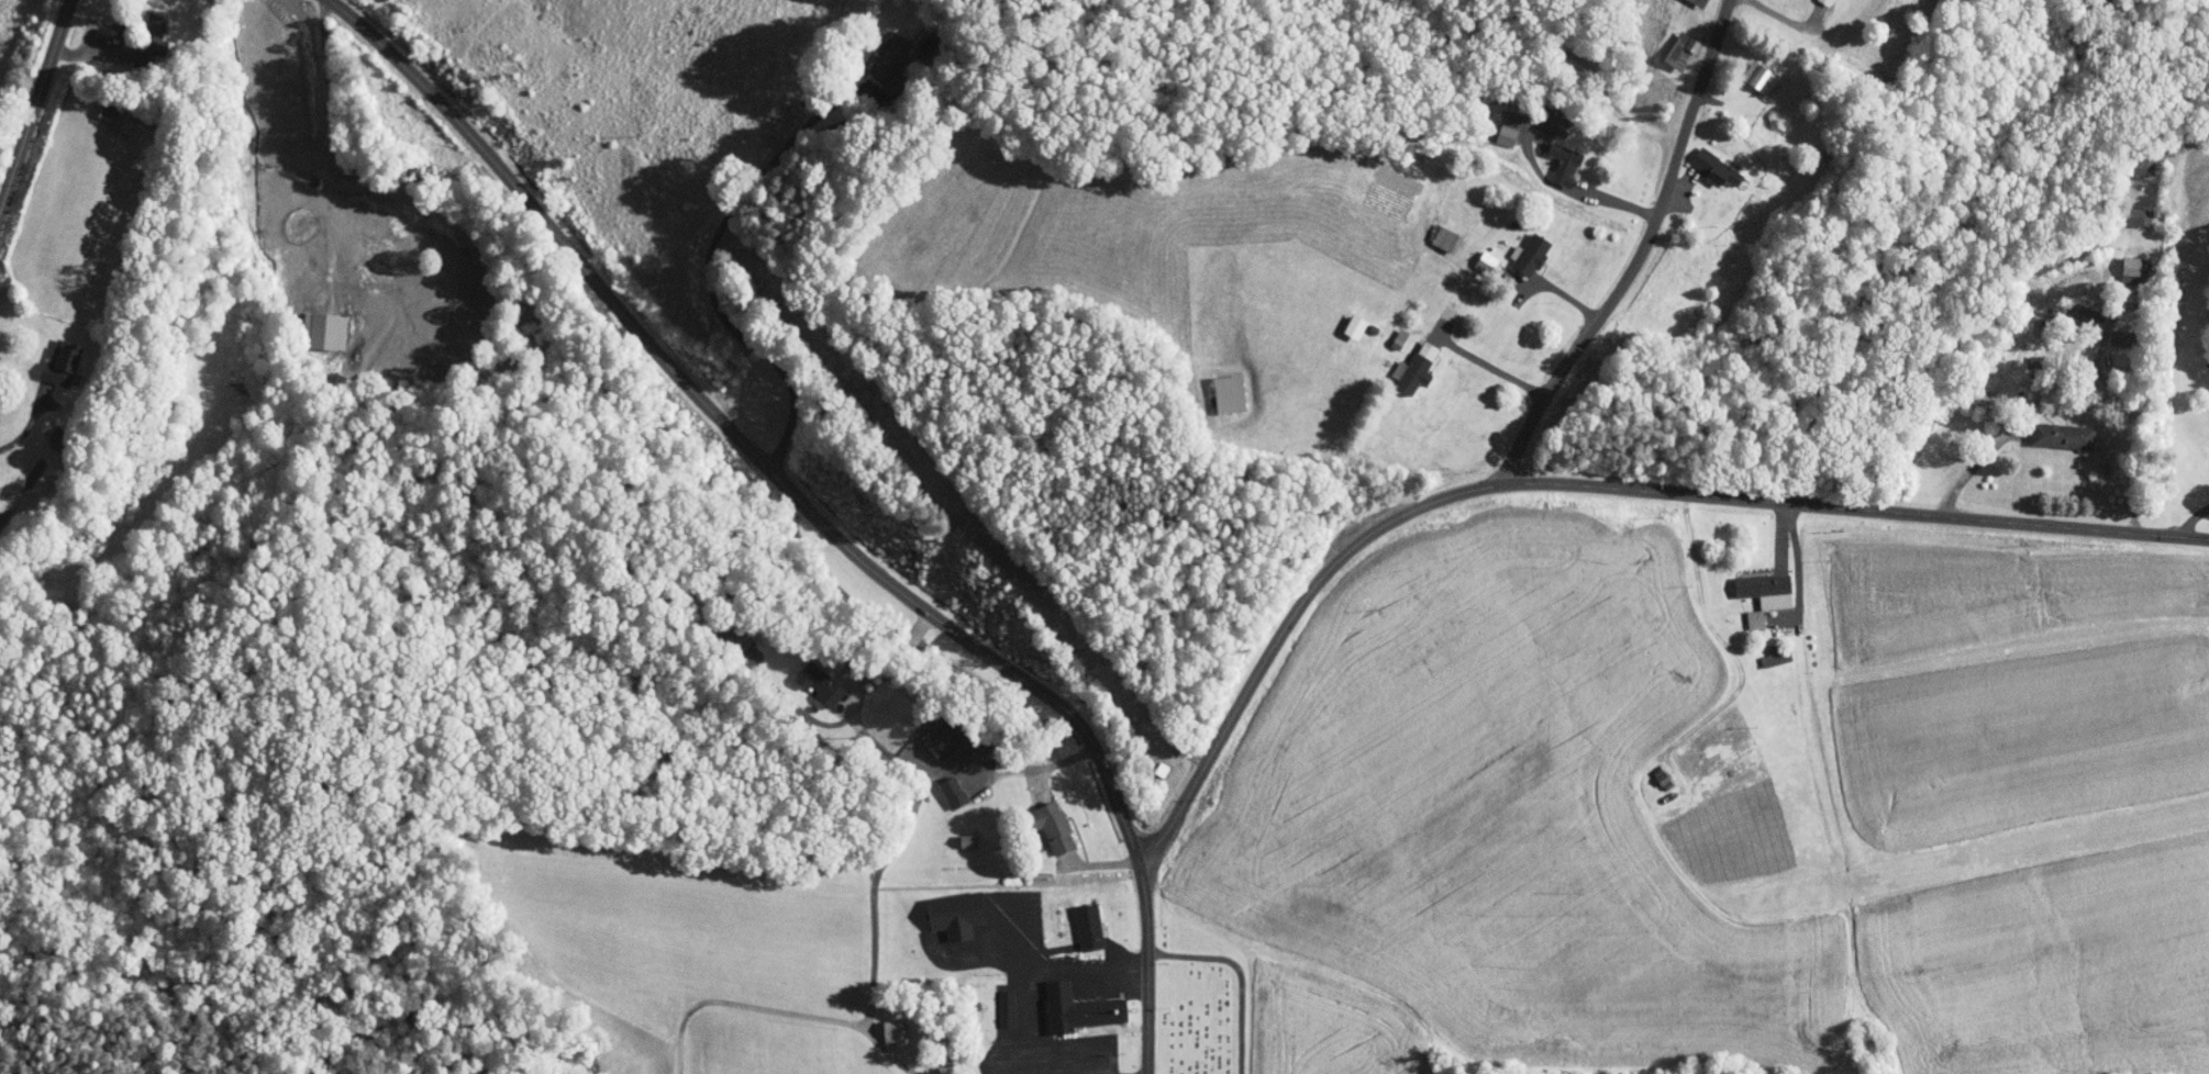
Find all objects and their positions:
building: (1686, 0)
building: (136, 20)
building: (1662, 43)
building: (873, 51)
building: (1743, 70)
road: (35, 108)
building: (99, 111)
building: (1534, 114)
building: (1491, 125)
building: (1546, 157)
building: (1698, 160)
building: (2127, 160)
building: (2121, 210)
road: (546, 222)
road: (722, 232)
building: (1516, 247)
building: (1470, 256)
road: (1641, 256)
building: (2118, 261)
building: (2065, 307)
building: (1336, 320)
building: (310, 324)
building: (2100, 331)
building: (44, 358)
building: (1398, 361)
road: (1490, 366)
building: (1211, 387)
road: (25, 427)
building: (2046, 428)
road: (1583, 484)
building: (1750, 583)
building: (1739, 613)
building: (722, 627)
building: (1761, 650)
road: (1731, 651)
building: (801, 676)
road: (1043, 695)
building: (922, 736)
building: (935, 785)
building: (1035, 819)
road: (911, 821)
building: (1052, 850)
building: (936, 908)
building: (1072, 921)
road: (1023, 936)
road: (974, 960)
road: (1094, 975)
building: (990, 1002)
building: (1061, 1003)
road: (1035, 1008)
road: (779, 1010)
building: (876, 1026)
road: (1052, 1042)

